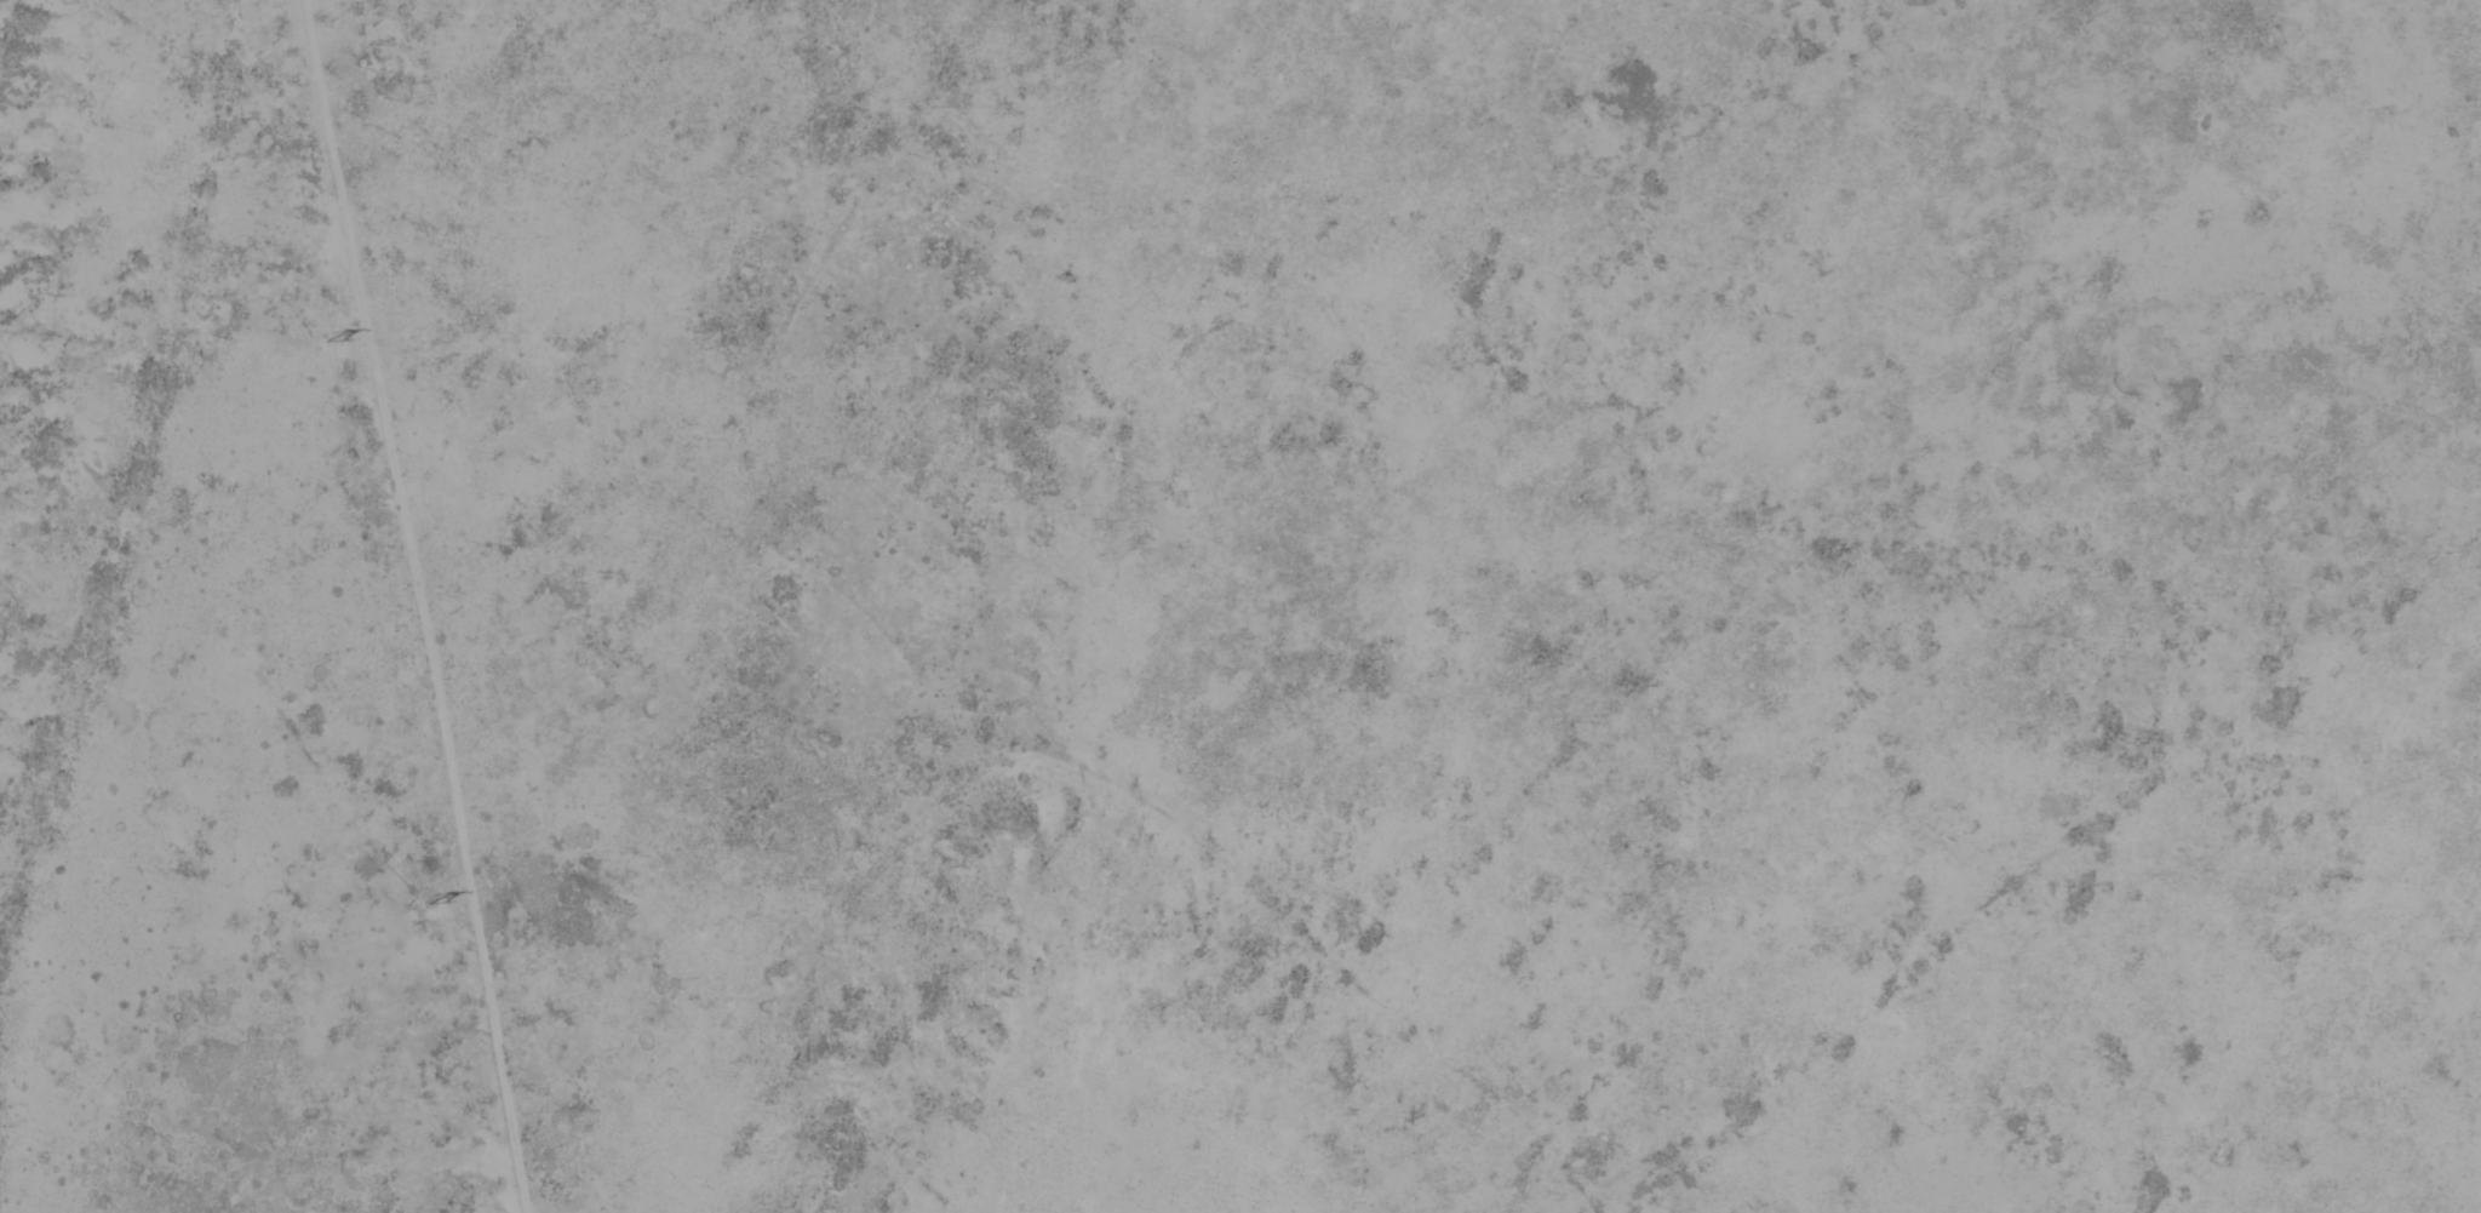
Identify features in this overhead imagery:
power tower: (336, 343)
road: (423, 606)
power tower: (437, 903)

